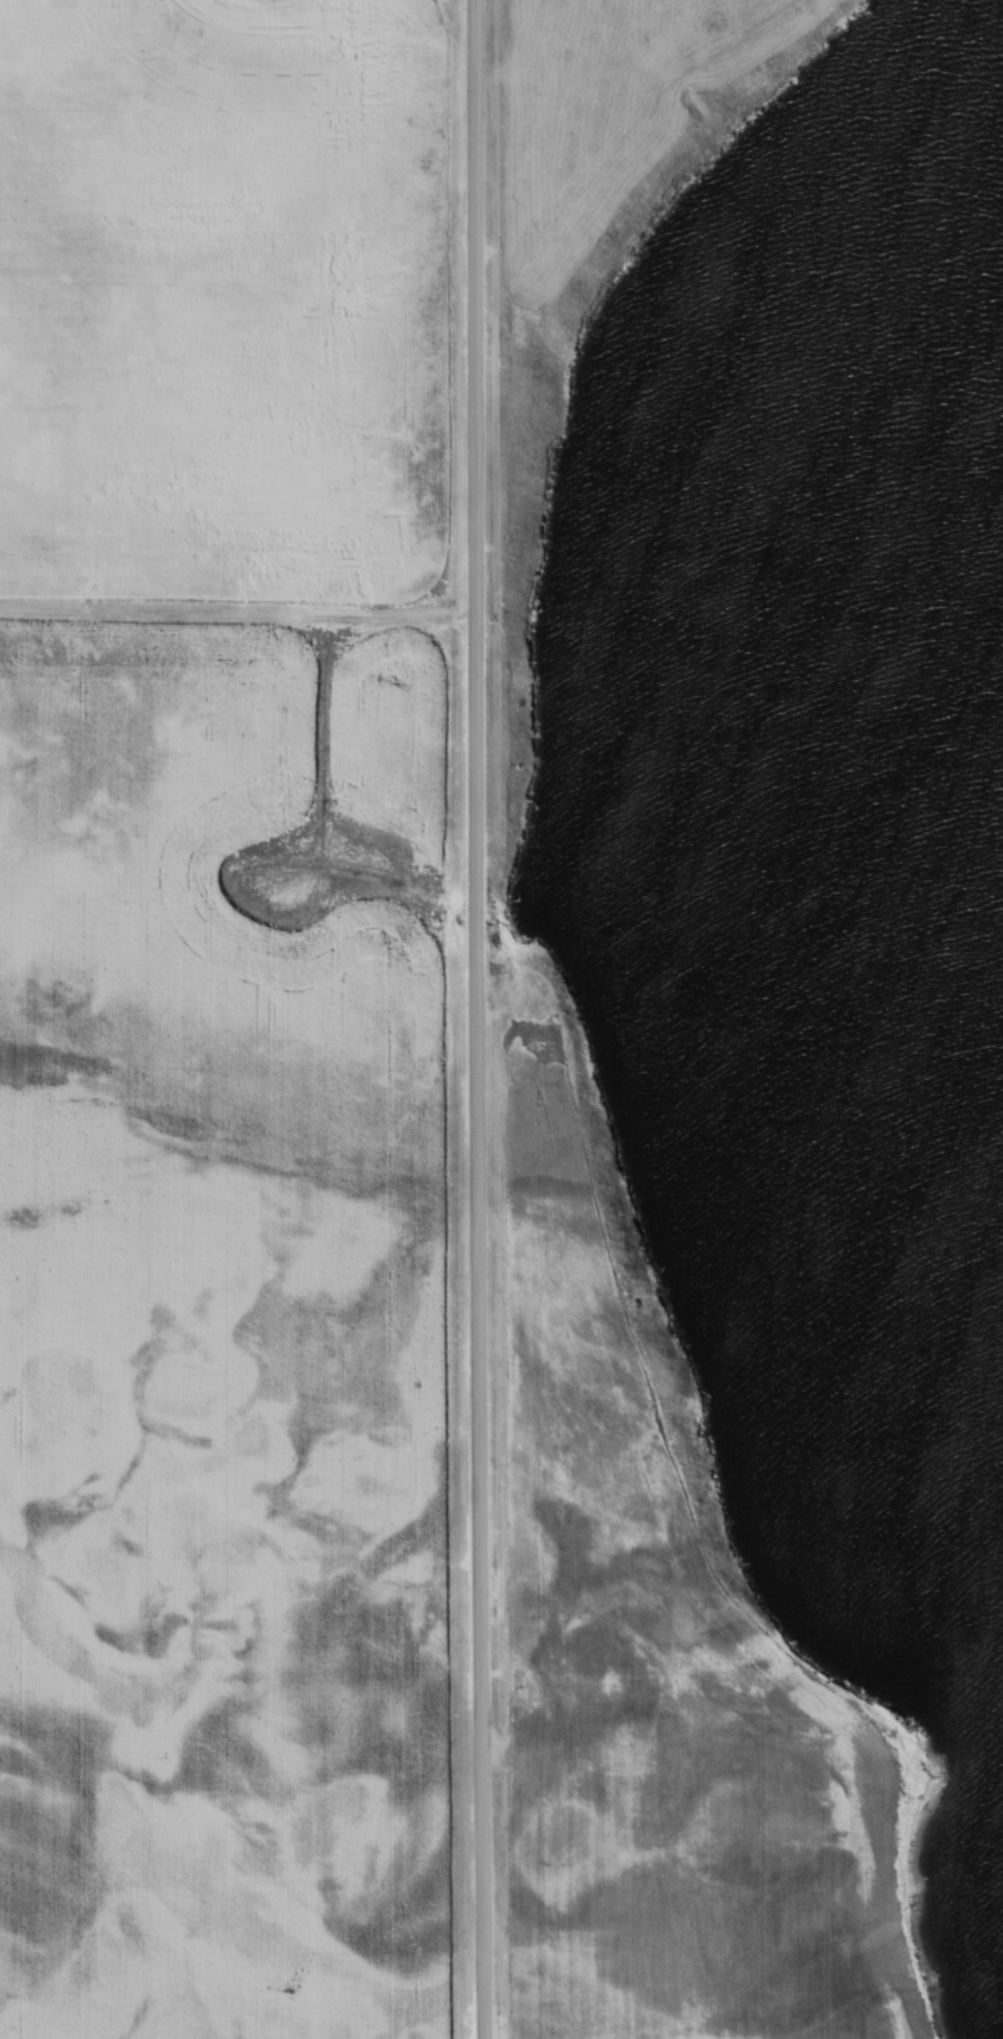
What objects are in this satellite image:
road: (238, 611)
road: (479, 1019)

